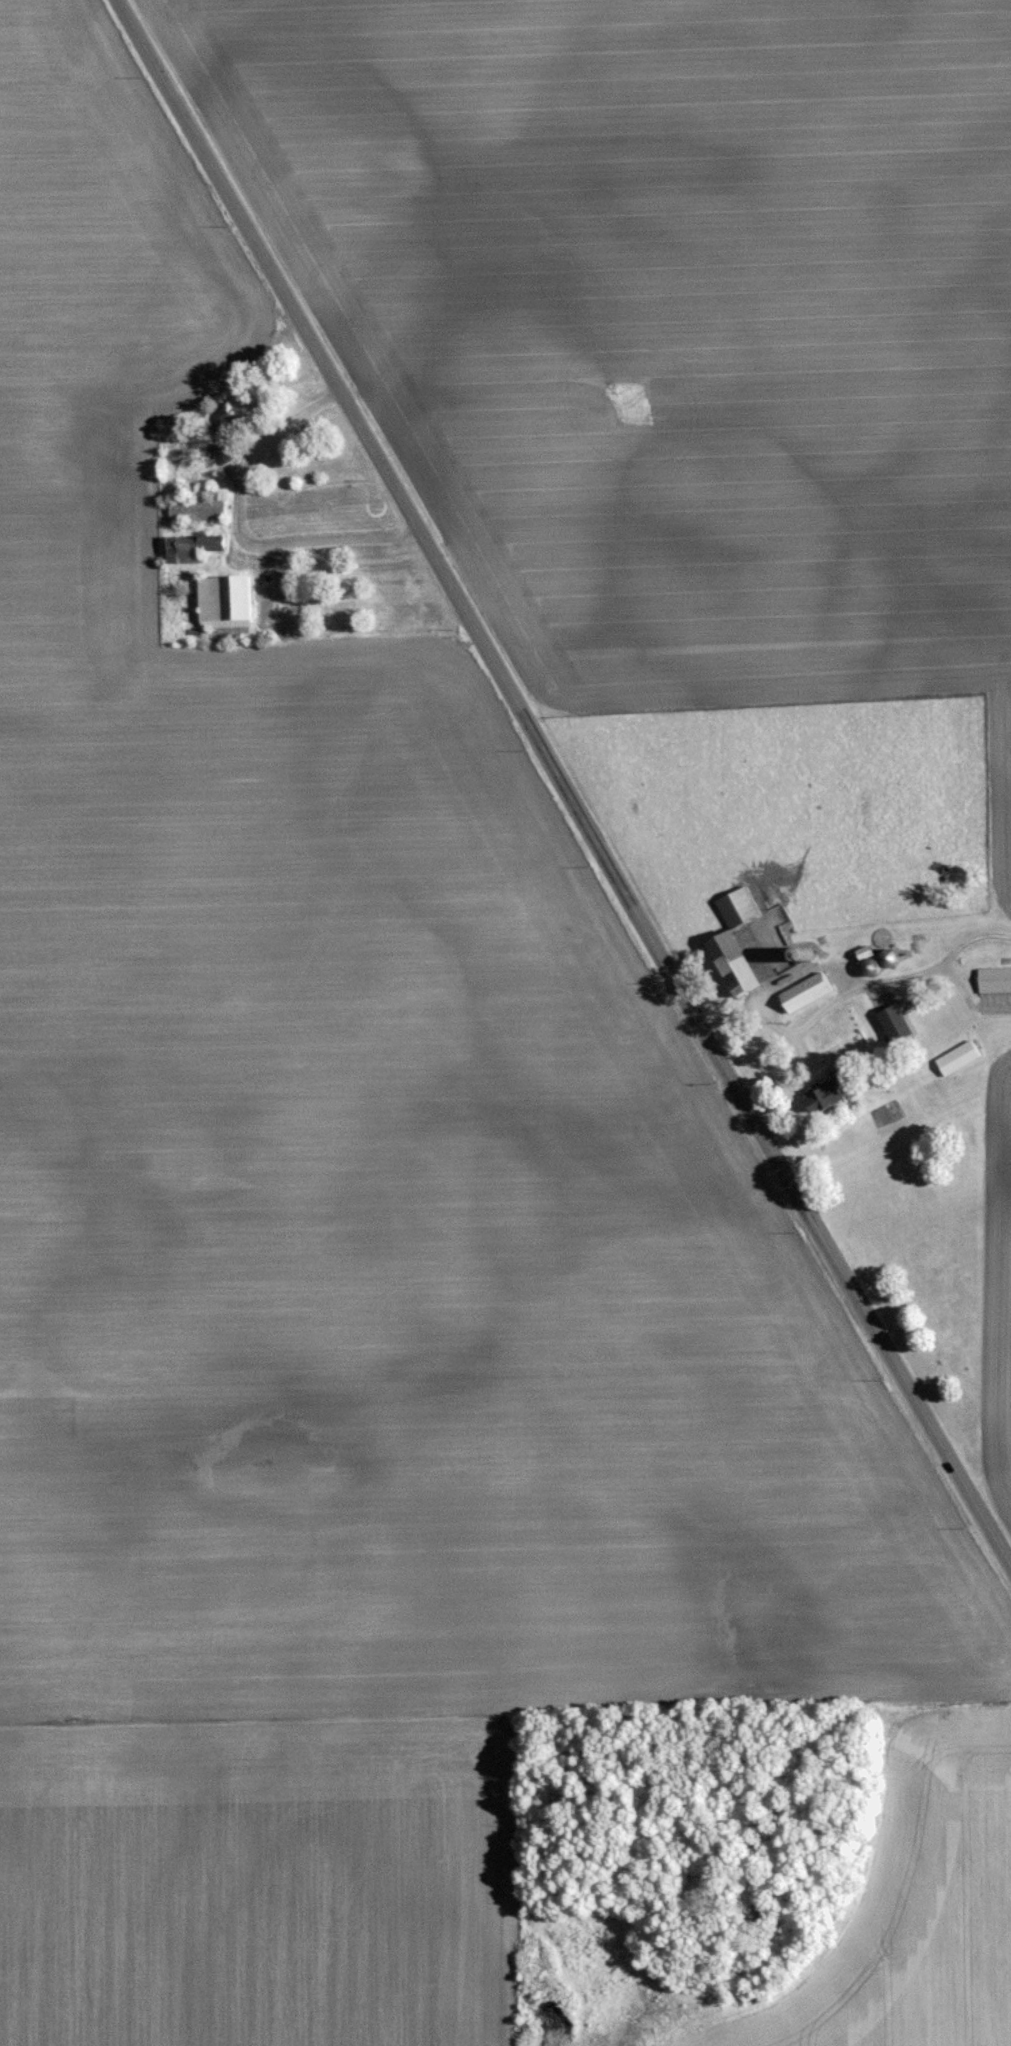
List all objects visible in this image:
building: (227, 432)
building: (198, 508)
road: (237, 523)
building: (195, 547)
building: (229, 601)
road: (563, 783)
building: (749, 943)
building: (995, 980)
building: (809, 992)
building: (900, 1023)
building: (961, 1057)
building: (834, 1089)

